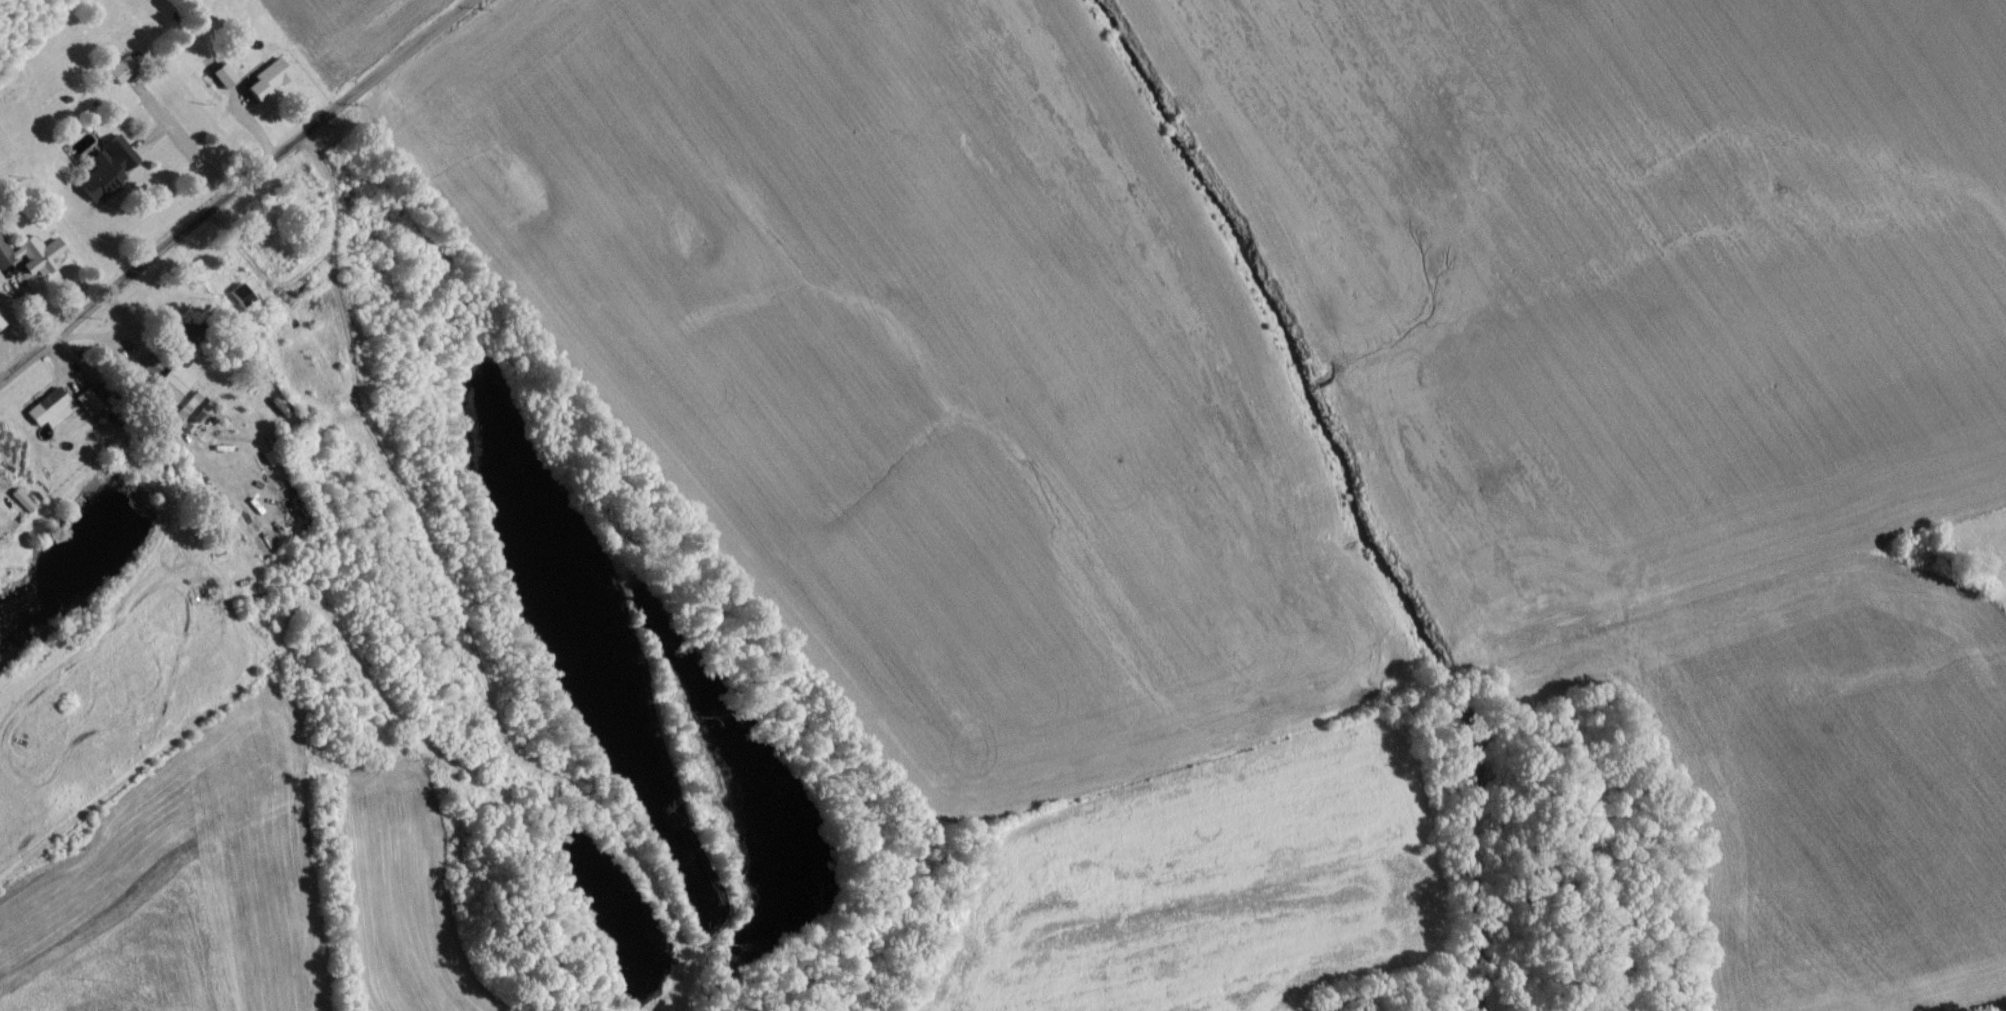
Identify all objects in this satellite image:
building: (120, 75)
building: (220, 81)
building: (266, 85)
building: (109, 172)
road: (242, 195)
building: (30, 262)
building: (239, 301)
road: (18, 338)
building: (171, 391)
building: (45, 412)

